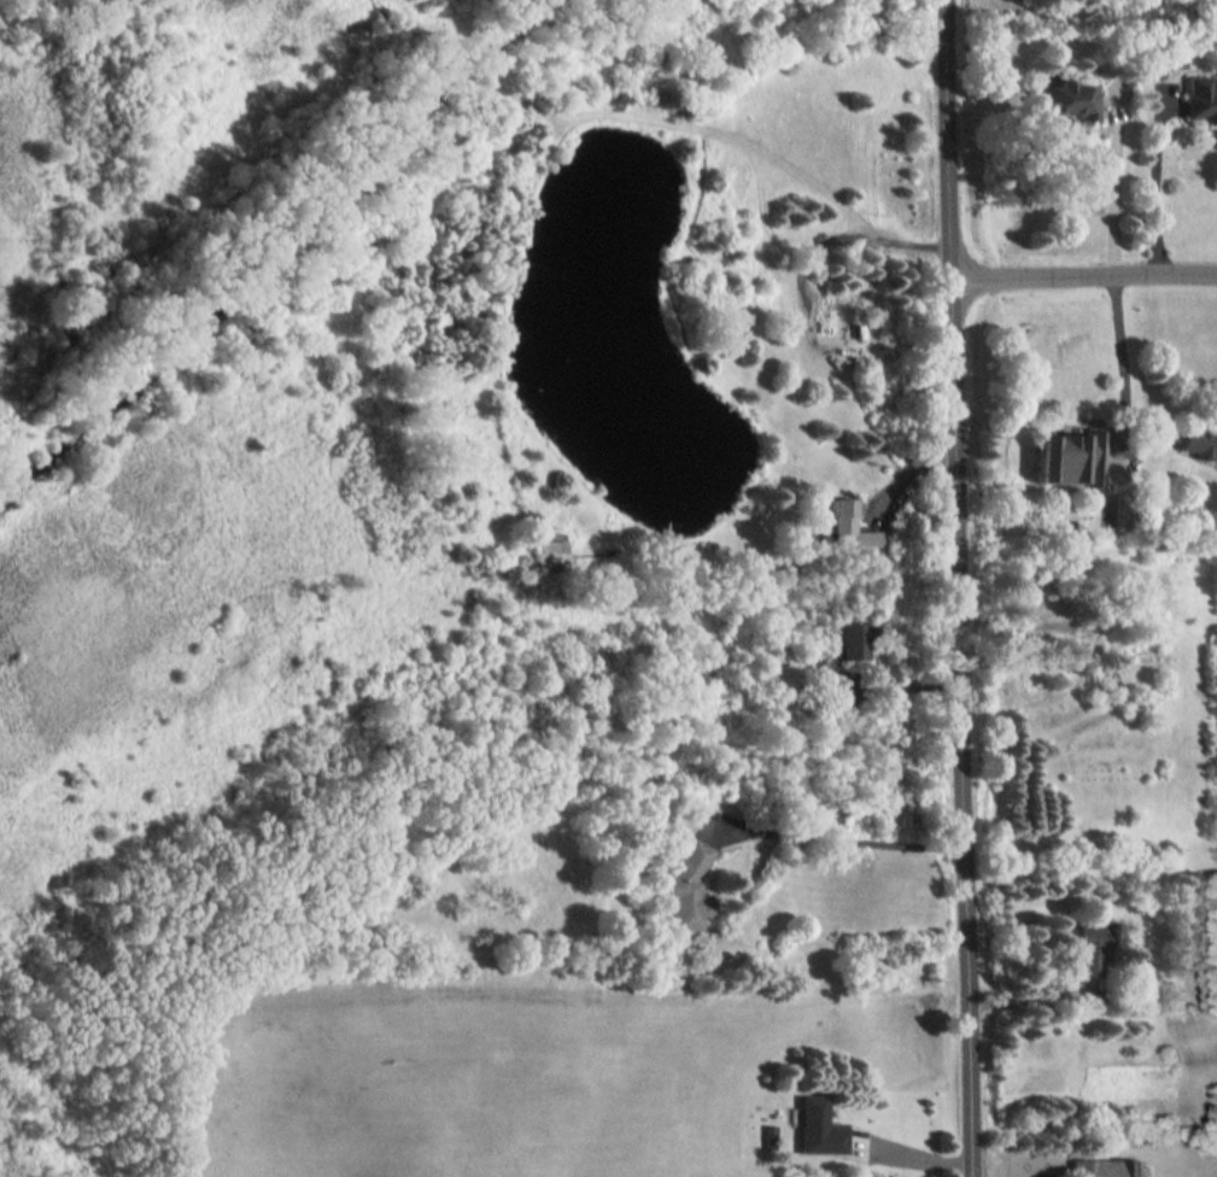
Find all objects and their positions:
building: (1174, 58)
building: (1201, 96)
building: (1067, 99)
road: (1155, 181)
road: (1114, 186)
road: (1084, 276)
road: (1119, 353)
building: (1196, 437)
building: (1067, 457)
road: (907, 468)
building: (850, 531)
road: (959, 588)
building: (847, 639)
road: (837, 839)
building: (683, 886)
building: (1089, 948)
building: (818, 1126)
building: (1105, 1167)

